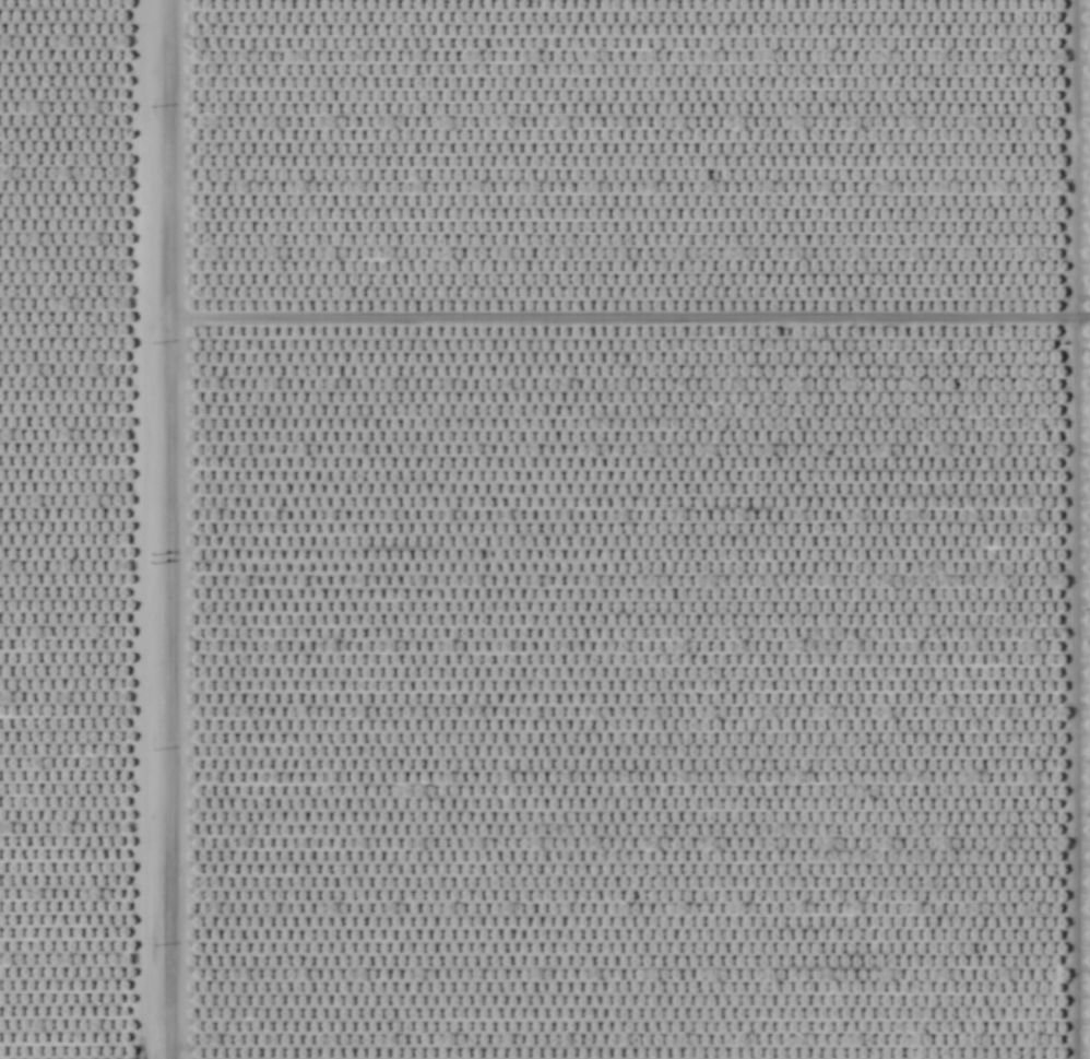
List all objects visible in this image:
road: (624, 321)
road: (159, 529)
crop: (545, 529)
road: (1074, 529)

